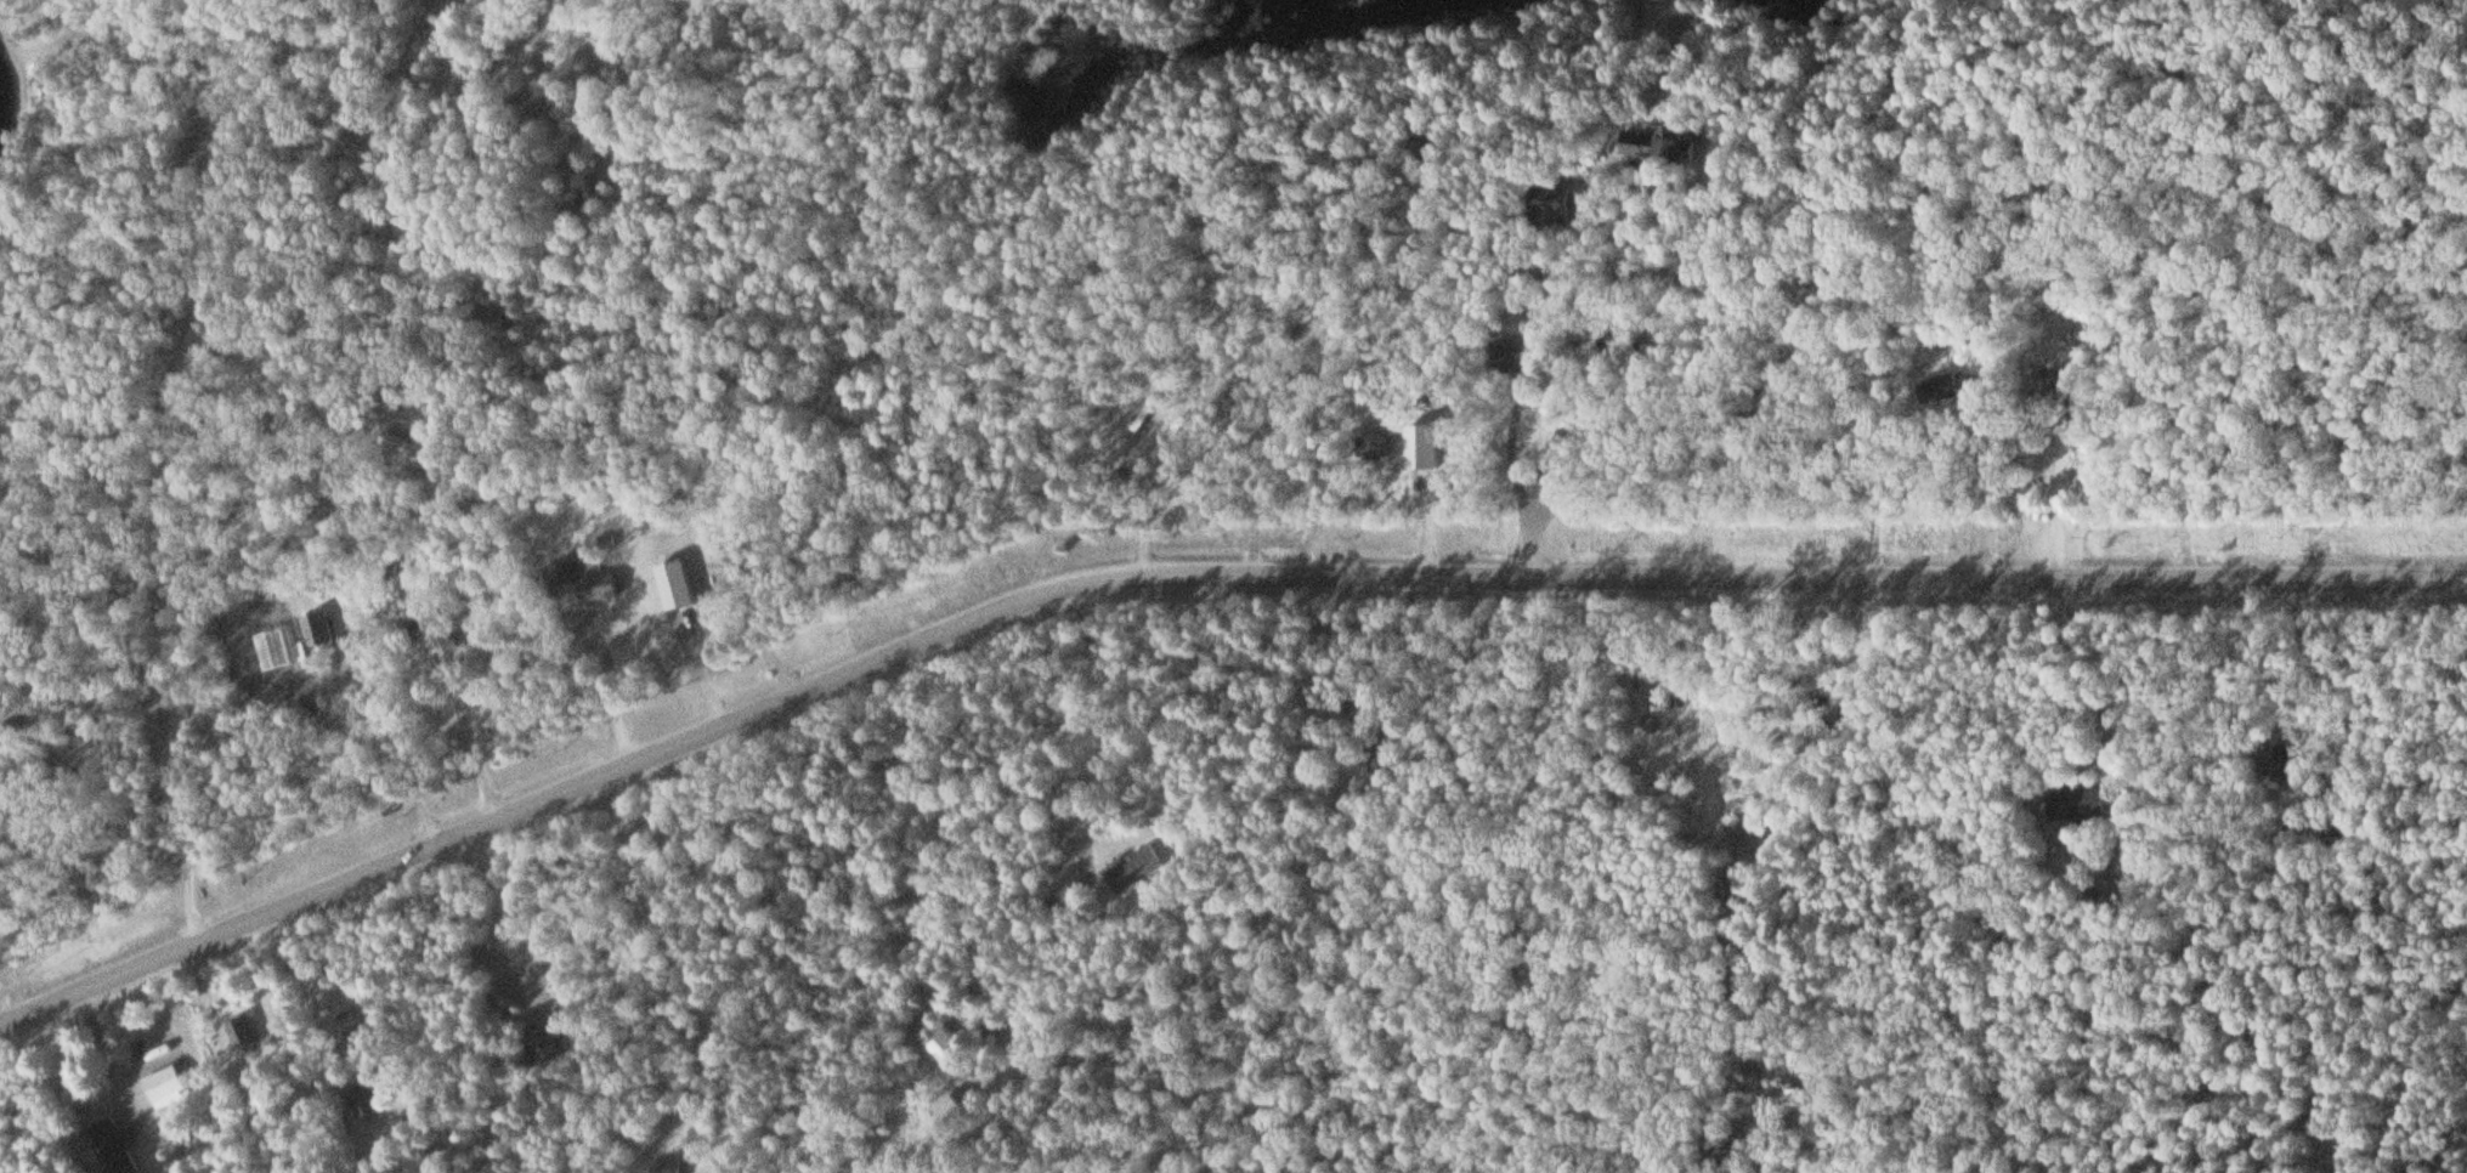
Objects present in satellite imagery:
building: (1664, 146)
road: (1108, 288)
building: (1272, 302)
road: (1738, 357)
building: (1623, 364)
road: (44, 387)
building: (1939, 390)
road: (179, 415)
building: (1370, 446)
building: (408, 450)
road: (1190, 574)
building: (598, 589)
building: (445, 644)
building: (56, 705)
road: (2392, 724)
building: (2280, 760)
road: (2194, 767)
road: (1908, 773)
road: (1109, 807)
road: (1357, 833)
road: (1557, 839)
building: (1133, 868)
building: (242, 1035)
building: (938, 1045)
building: (541, 1047)
building: (165, 1087)
building: (363, 1103)
building: (945, 1109)
building: (114, 1146)
building: (664, 1166)

